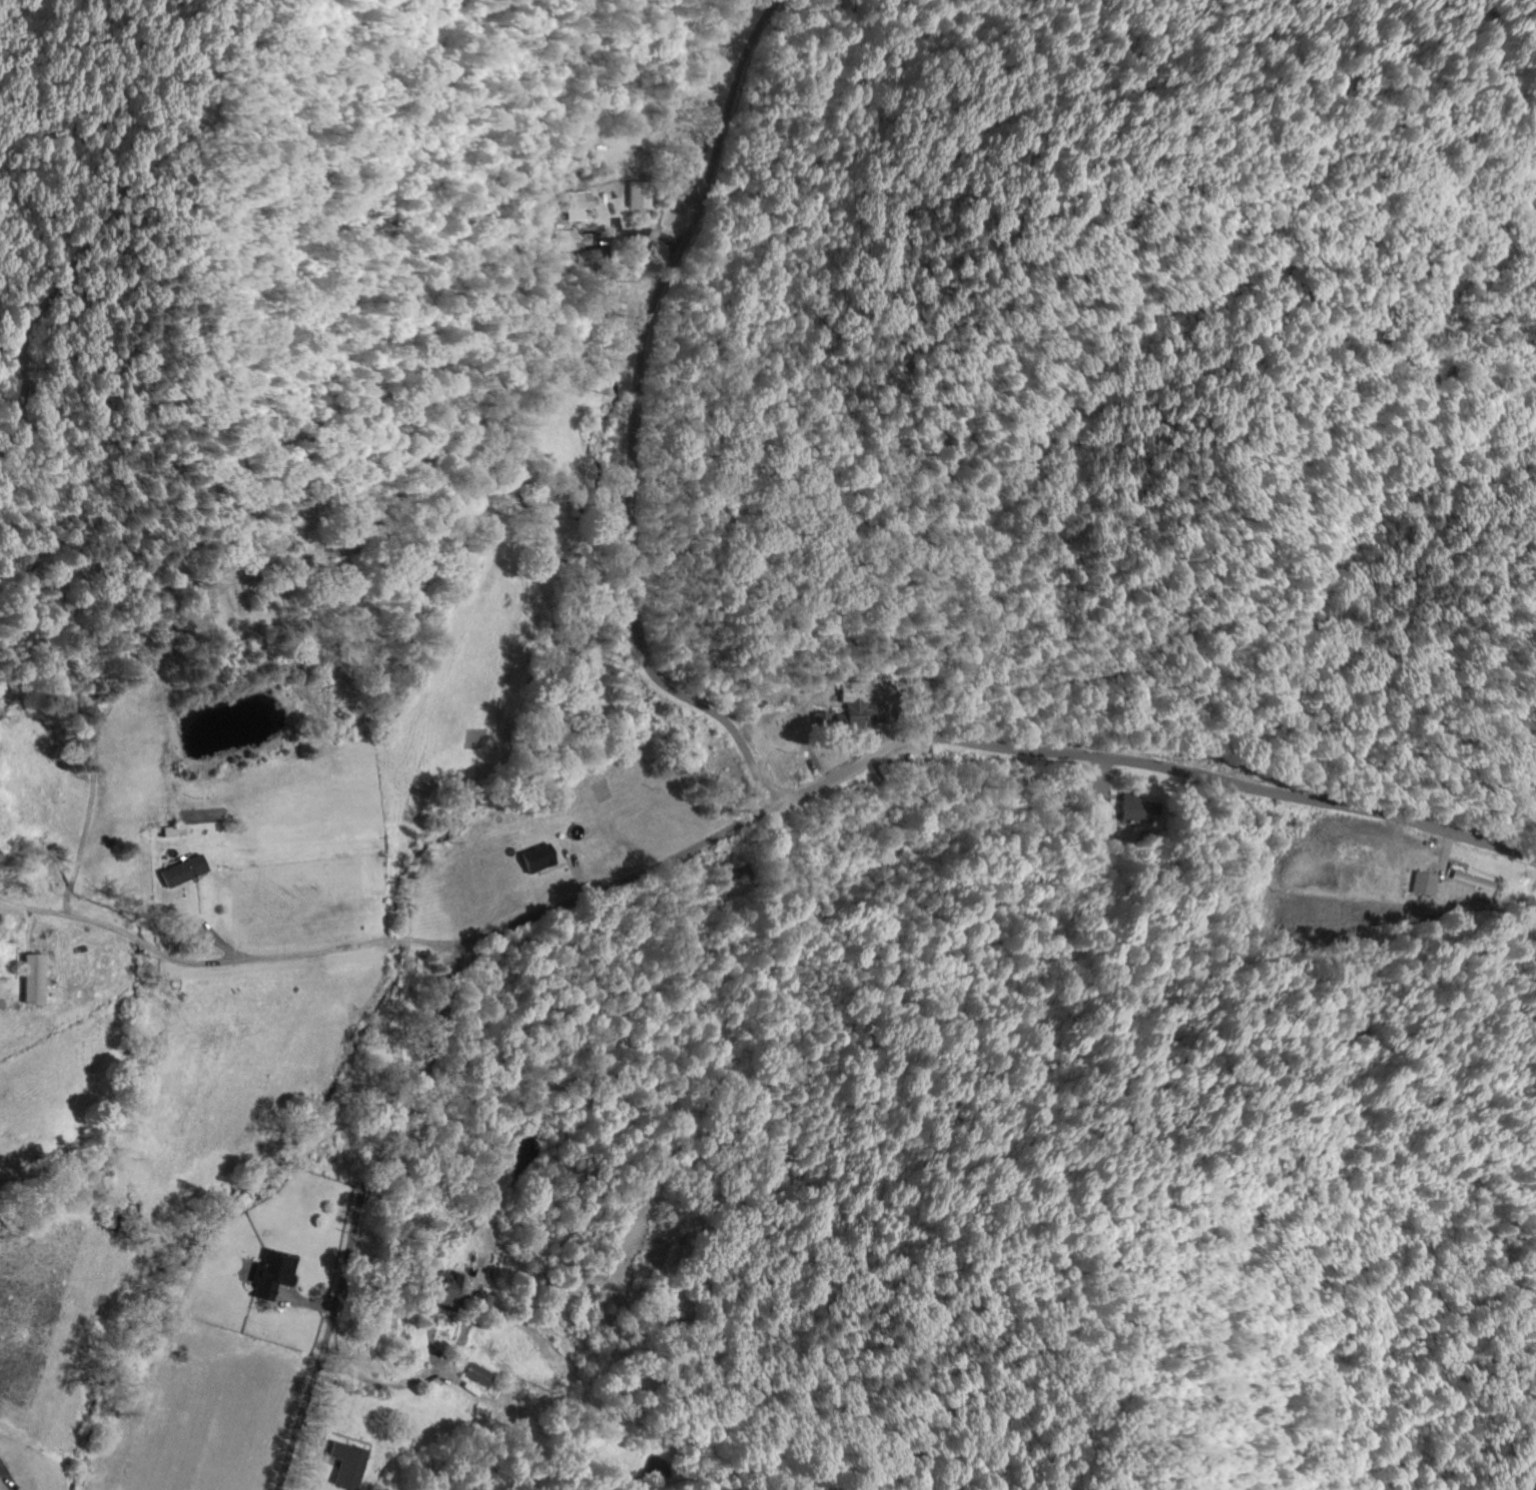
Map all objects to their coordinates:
building: (580, 203)
building: (581, 240)
building: (563, 241)
building: (582, 256)
road: (634, 422)
park: (250, 603)
building: (855, 710)
building: (1133, 808)
building: (169, 832)
road: (723, 840)
building: (533, 859)
building: (179, 872)
building: (1422, 882)
road: (234, 963)
building: (29, 979)
building: (267, 1274)
building: (440, 1290)
building: (478, 1300)
building: (475, 1375)
road: (409, 1383)
building: (343, 1464)

